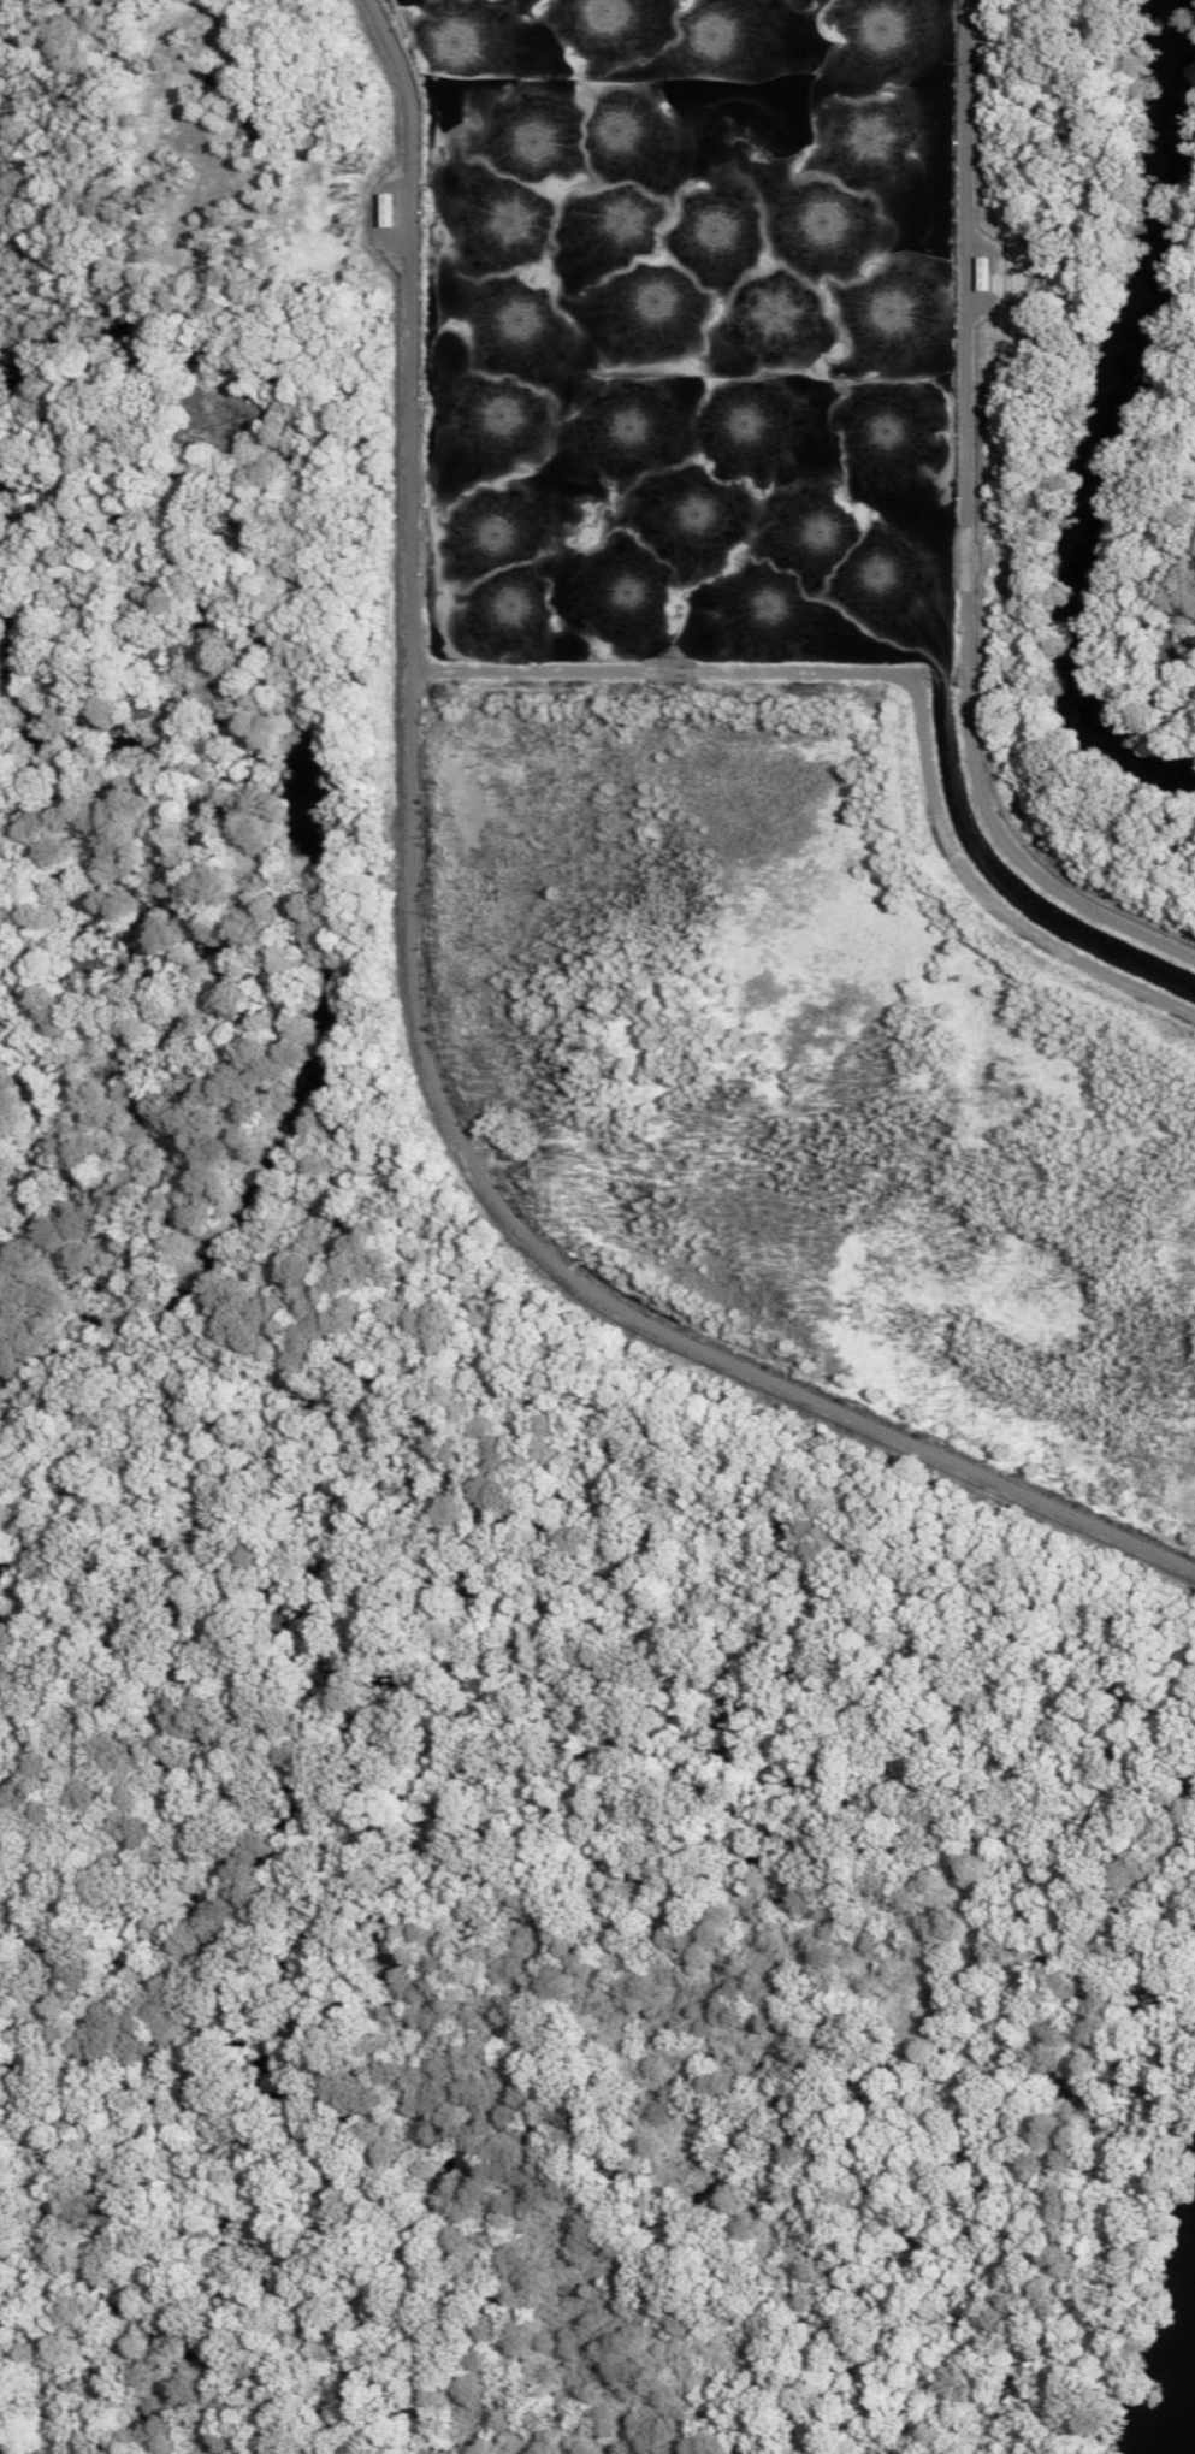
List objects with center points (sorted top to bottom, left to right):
river: (1085, 413)
road: (957, 546)
road: (413, 1016)

